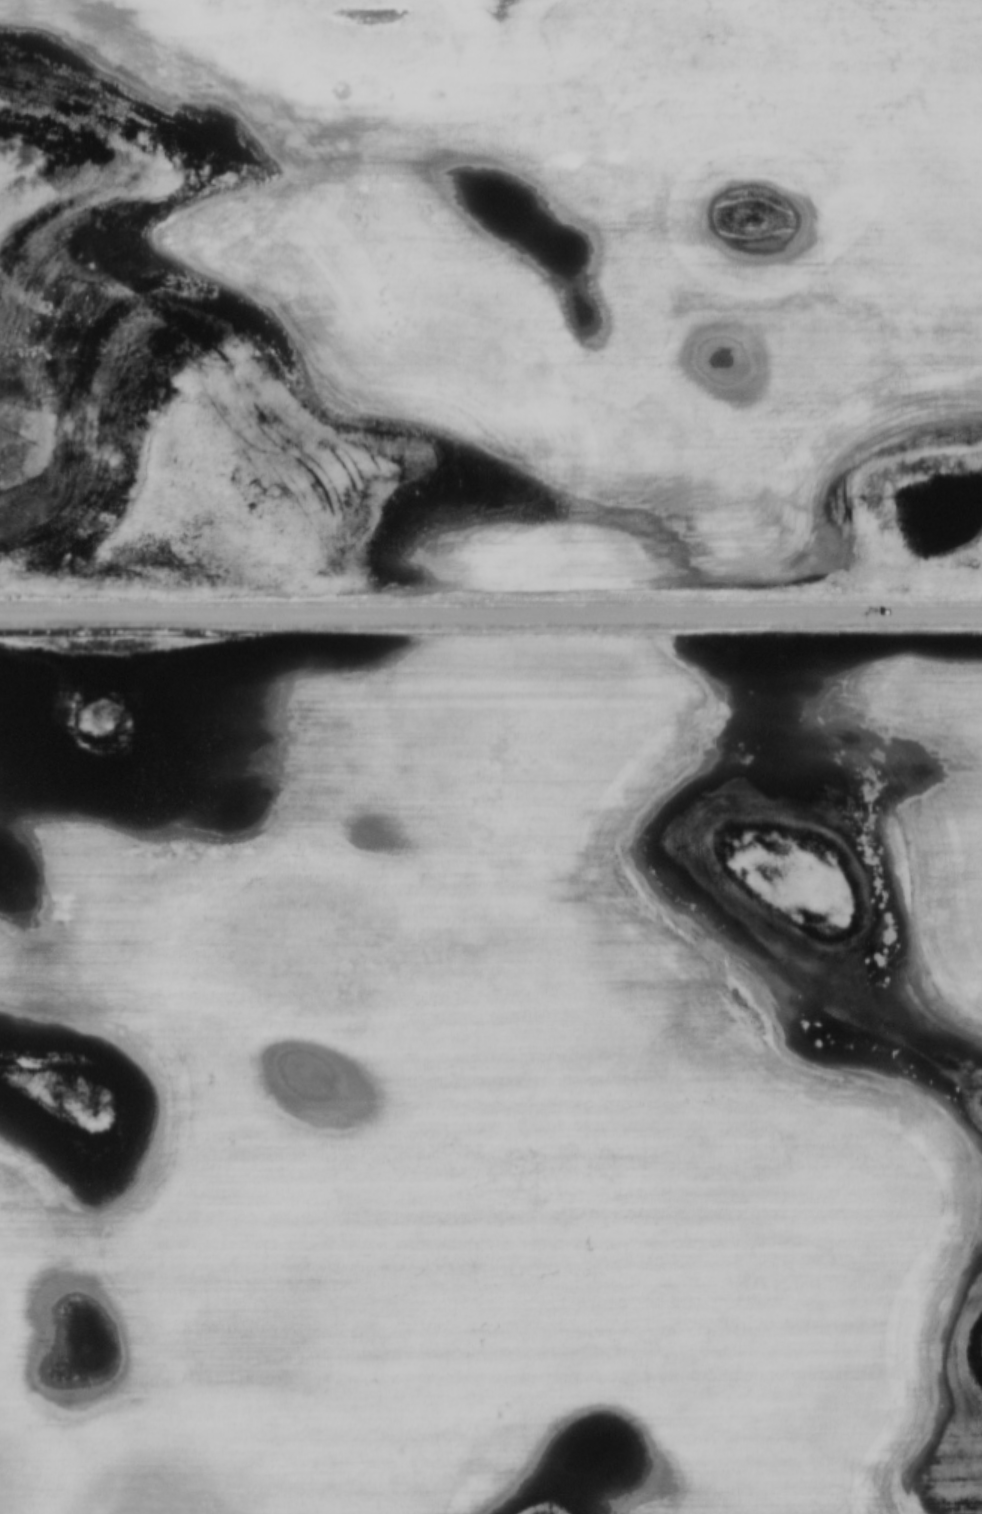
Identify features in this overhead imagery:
road: (490, 617)

